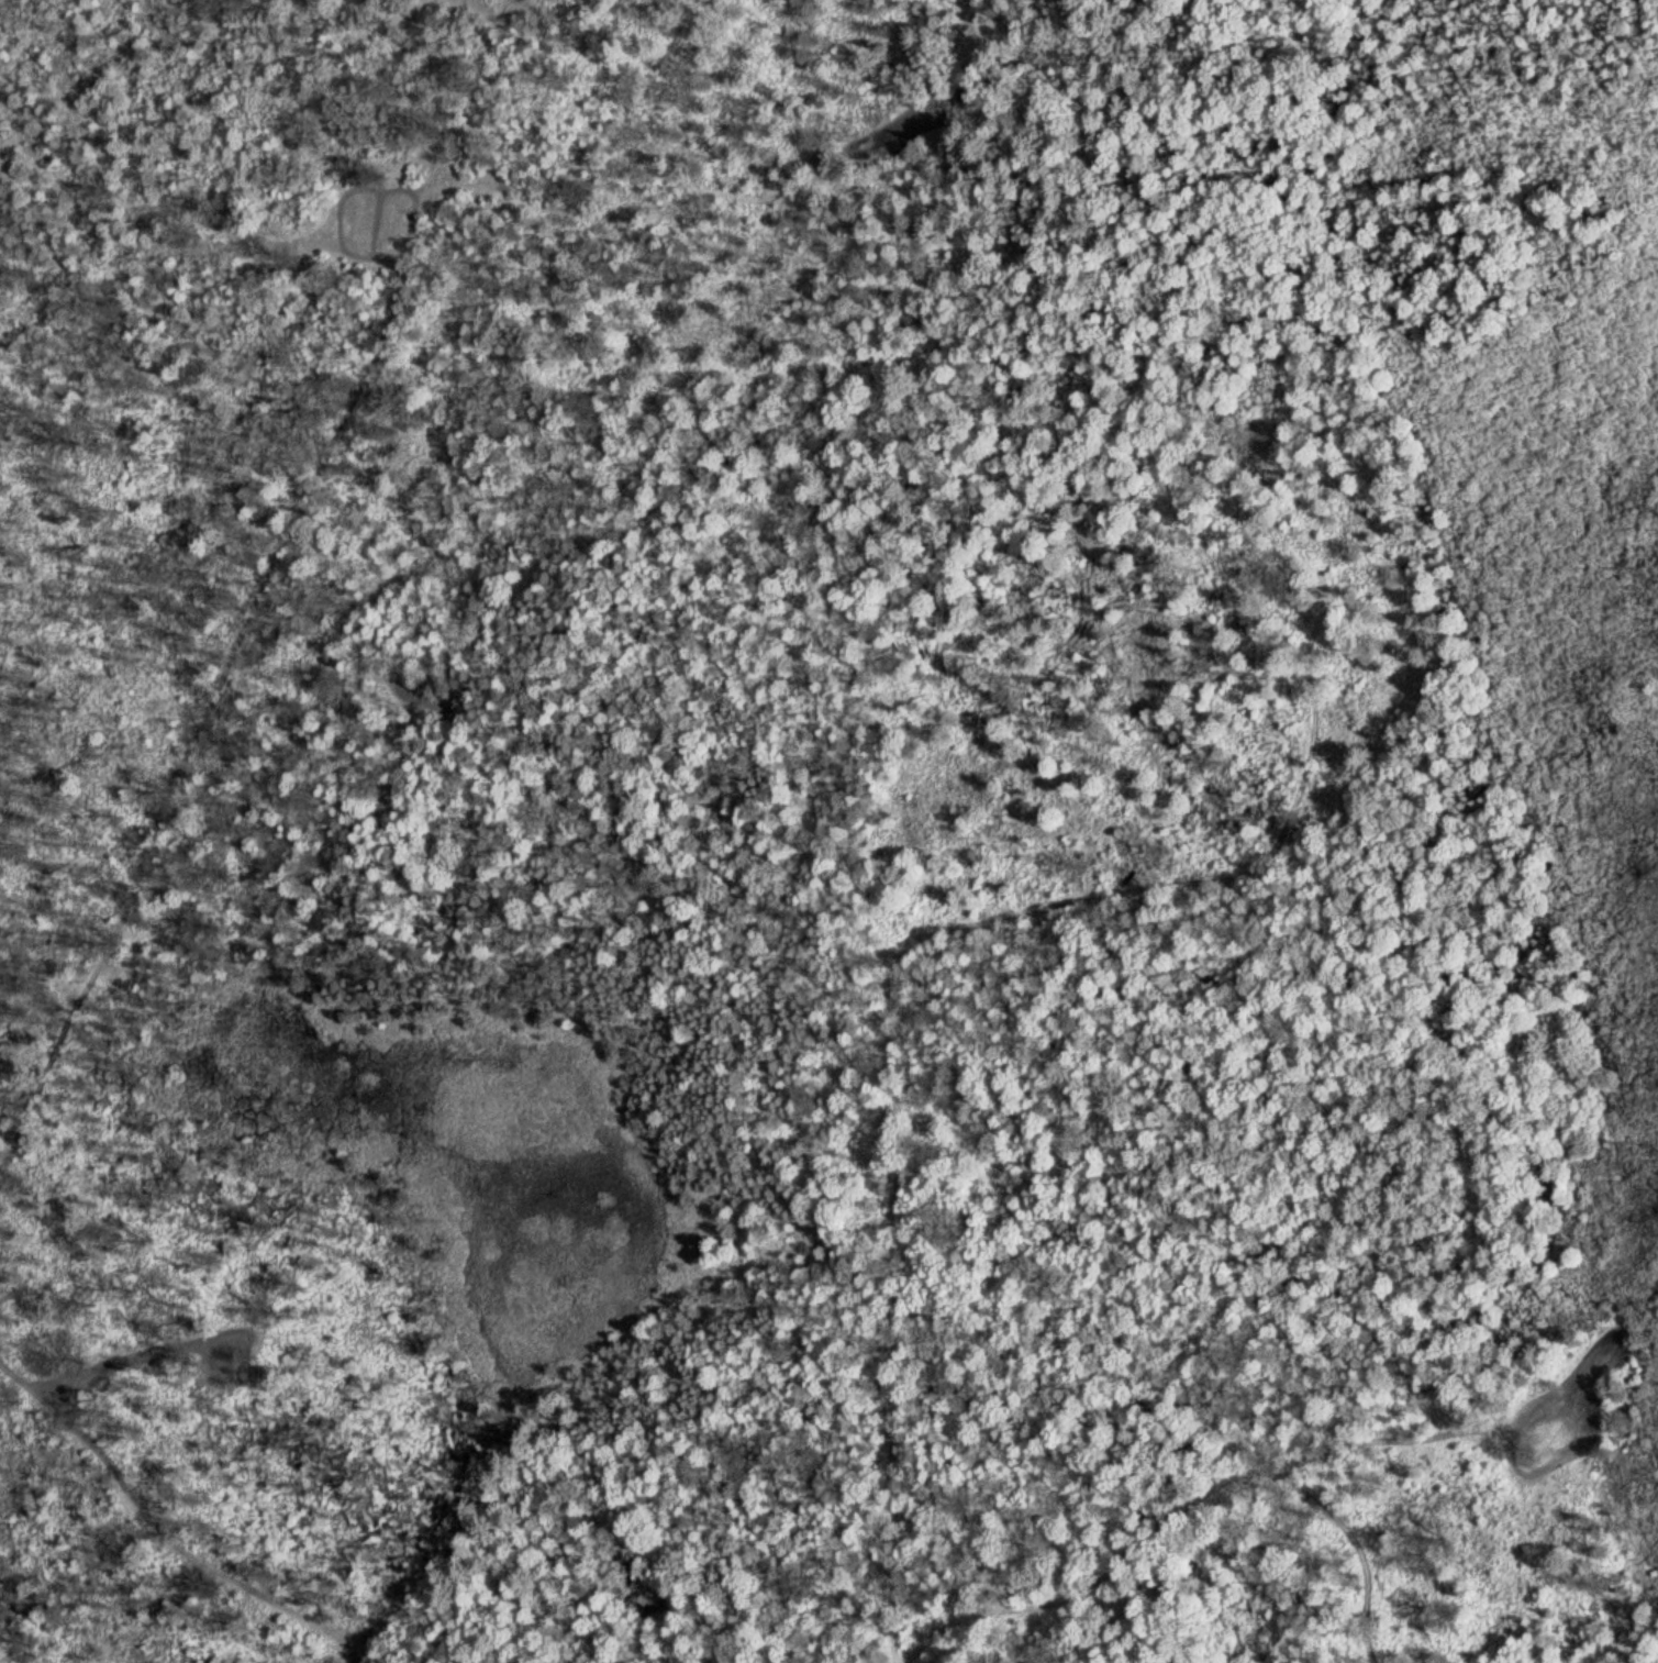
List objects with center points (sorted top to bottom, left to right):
road: (265, 592)
road: (160, 1528)

